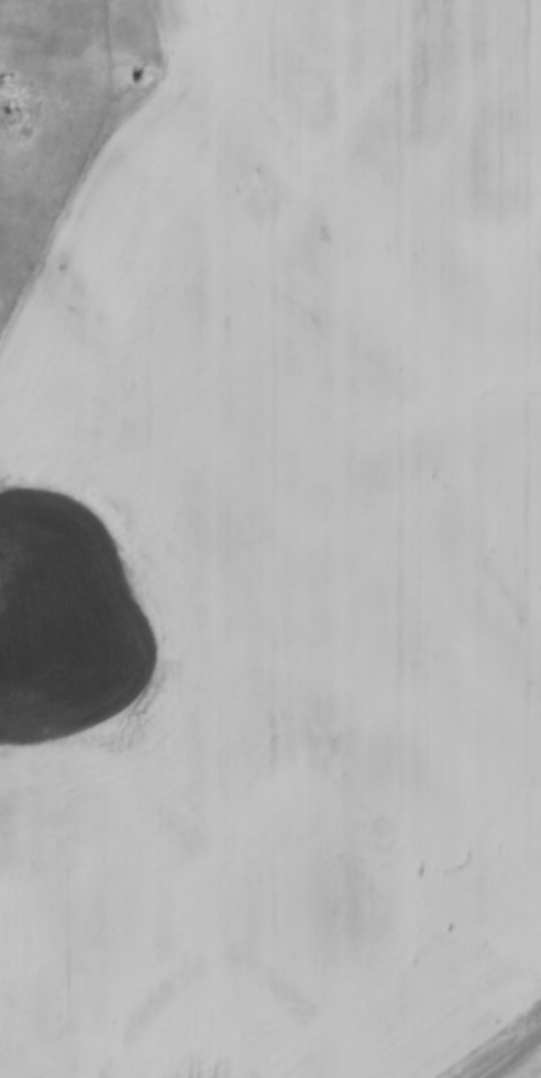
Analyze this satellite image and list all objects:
road: (499, 1048)

